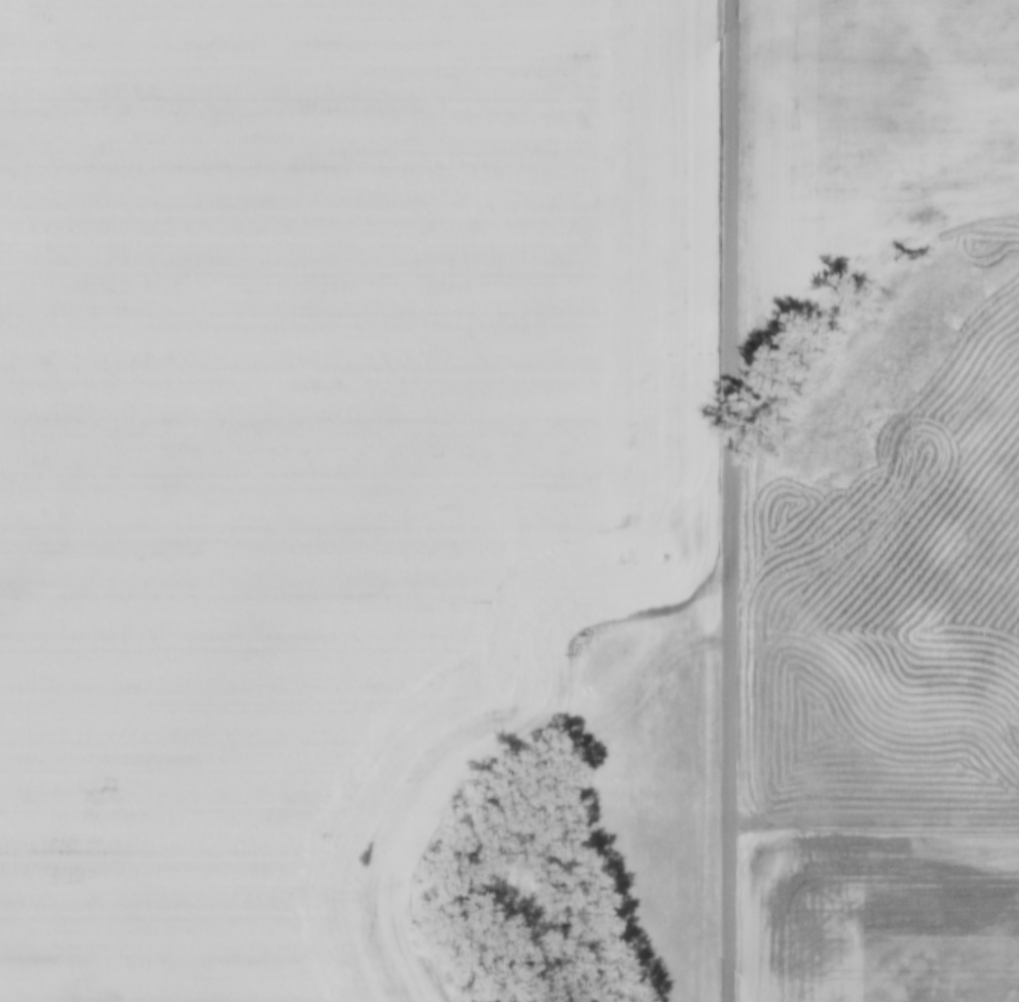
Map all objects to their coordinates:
road: (727, 501)
road: (872, 822)

